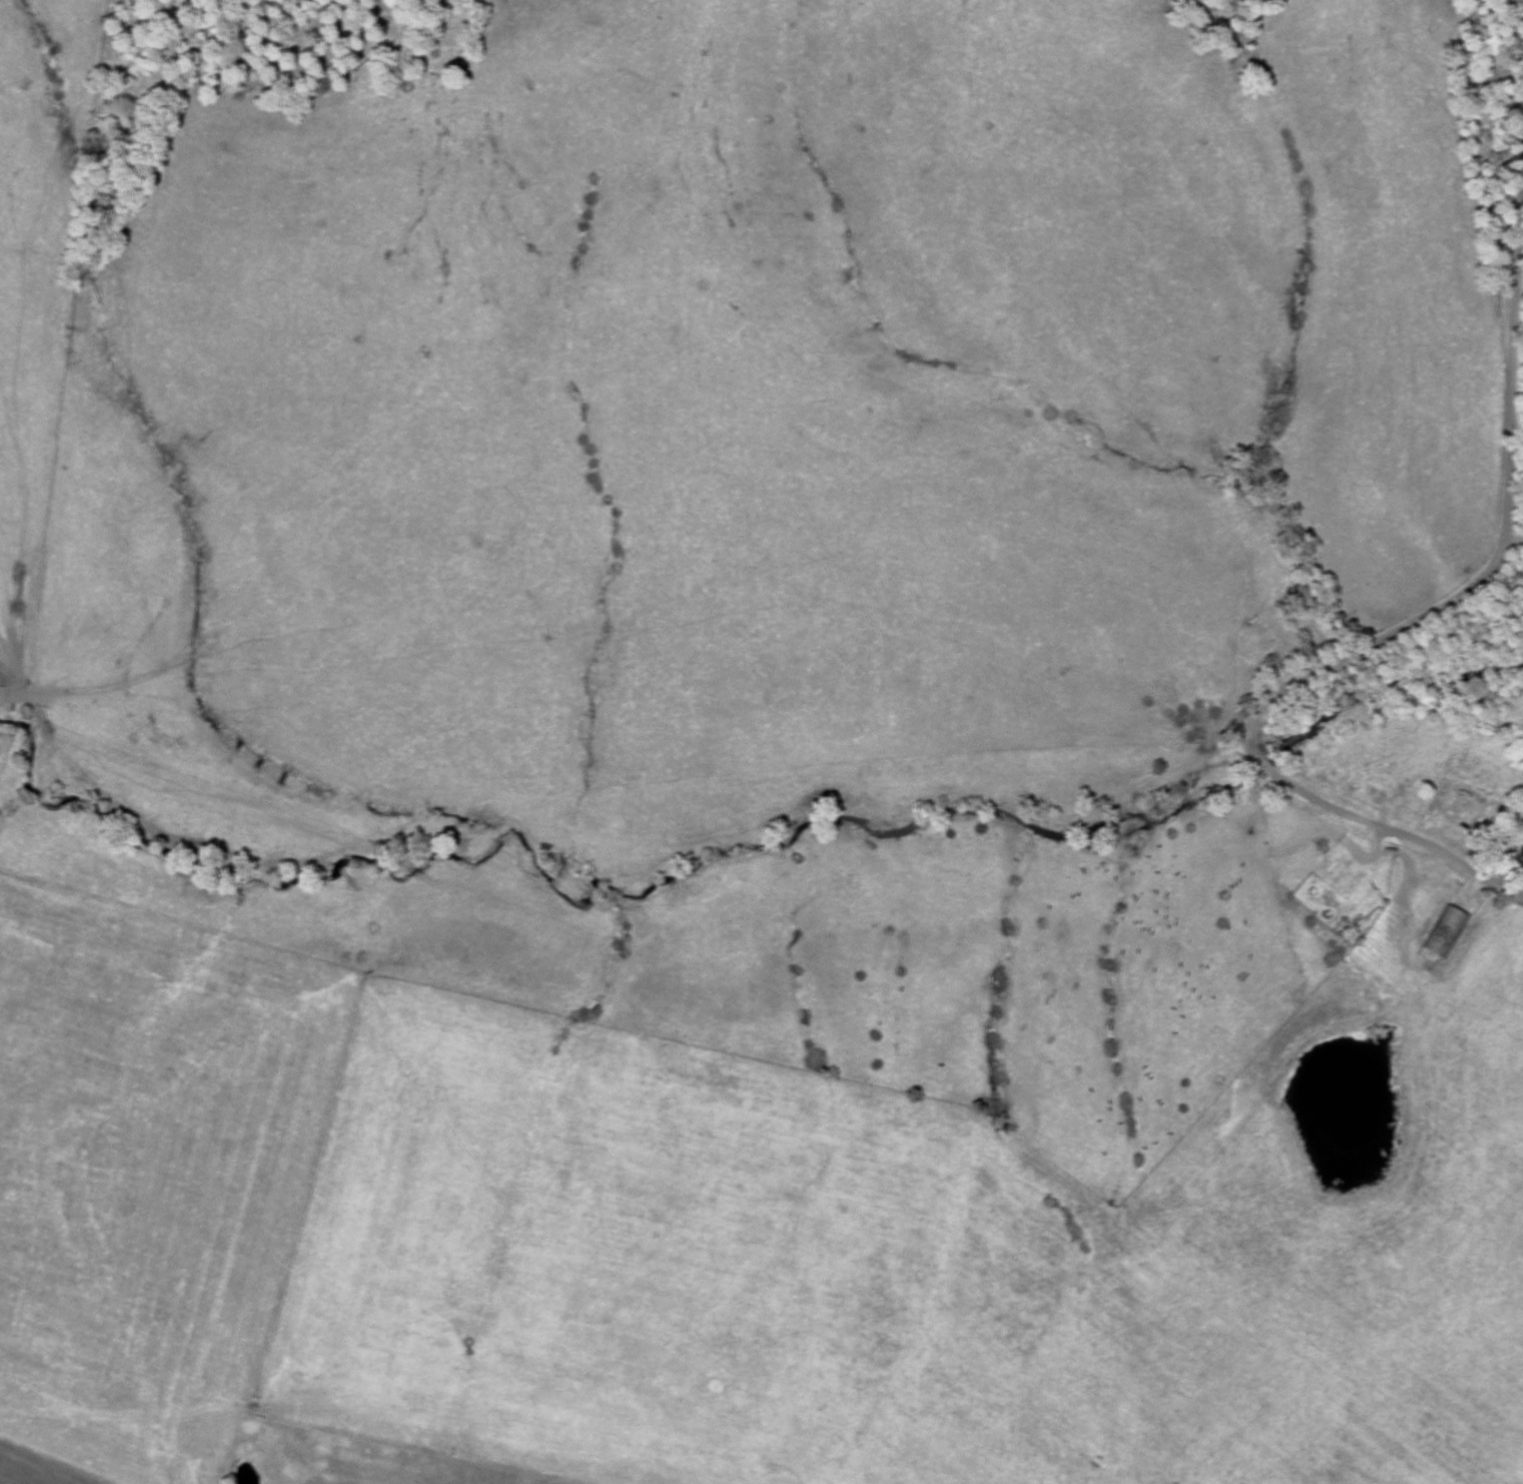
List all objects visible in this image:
road: (1384, 640)
building: (1519, 860)

